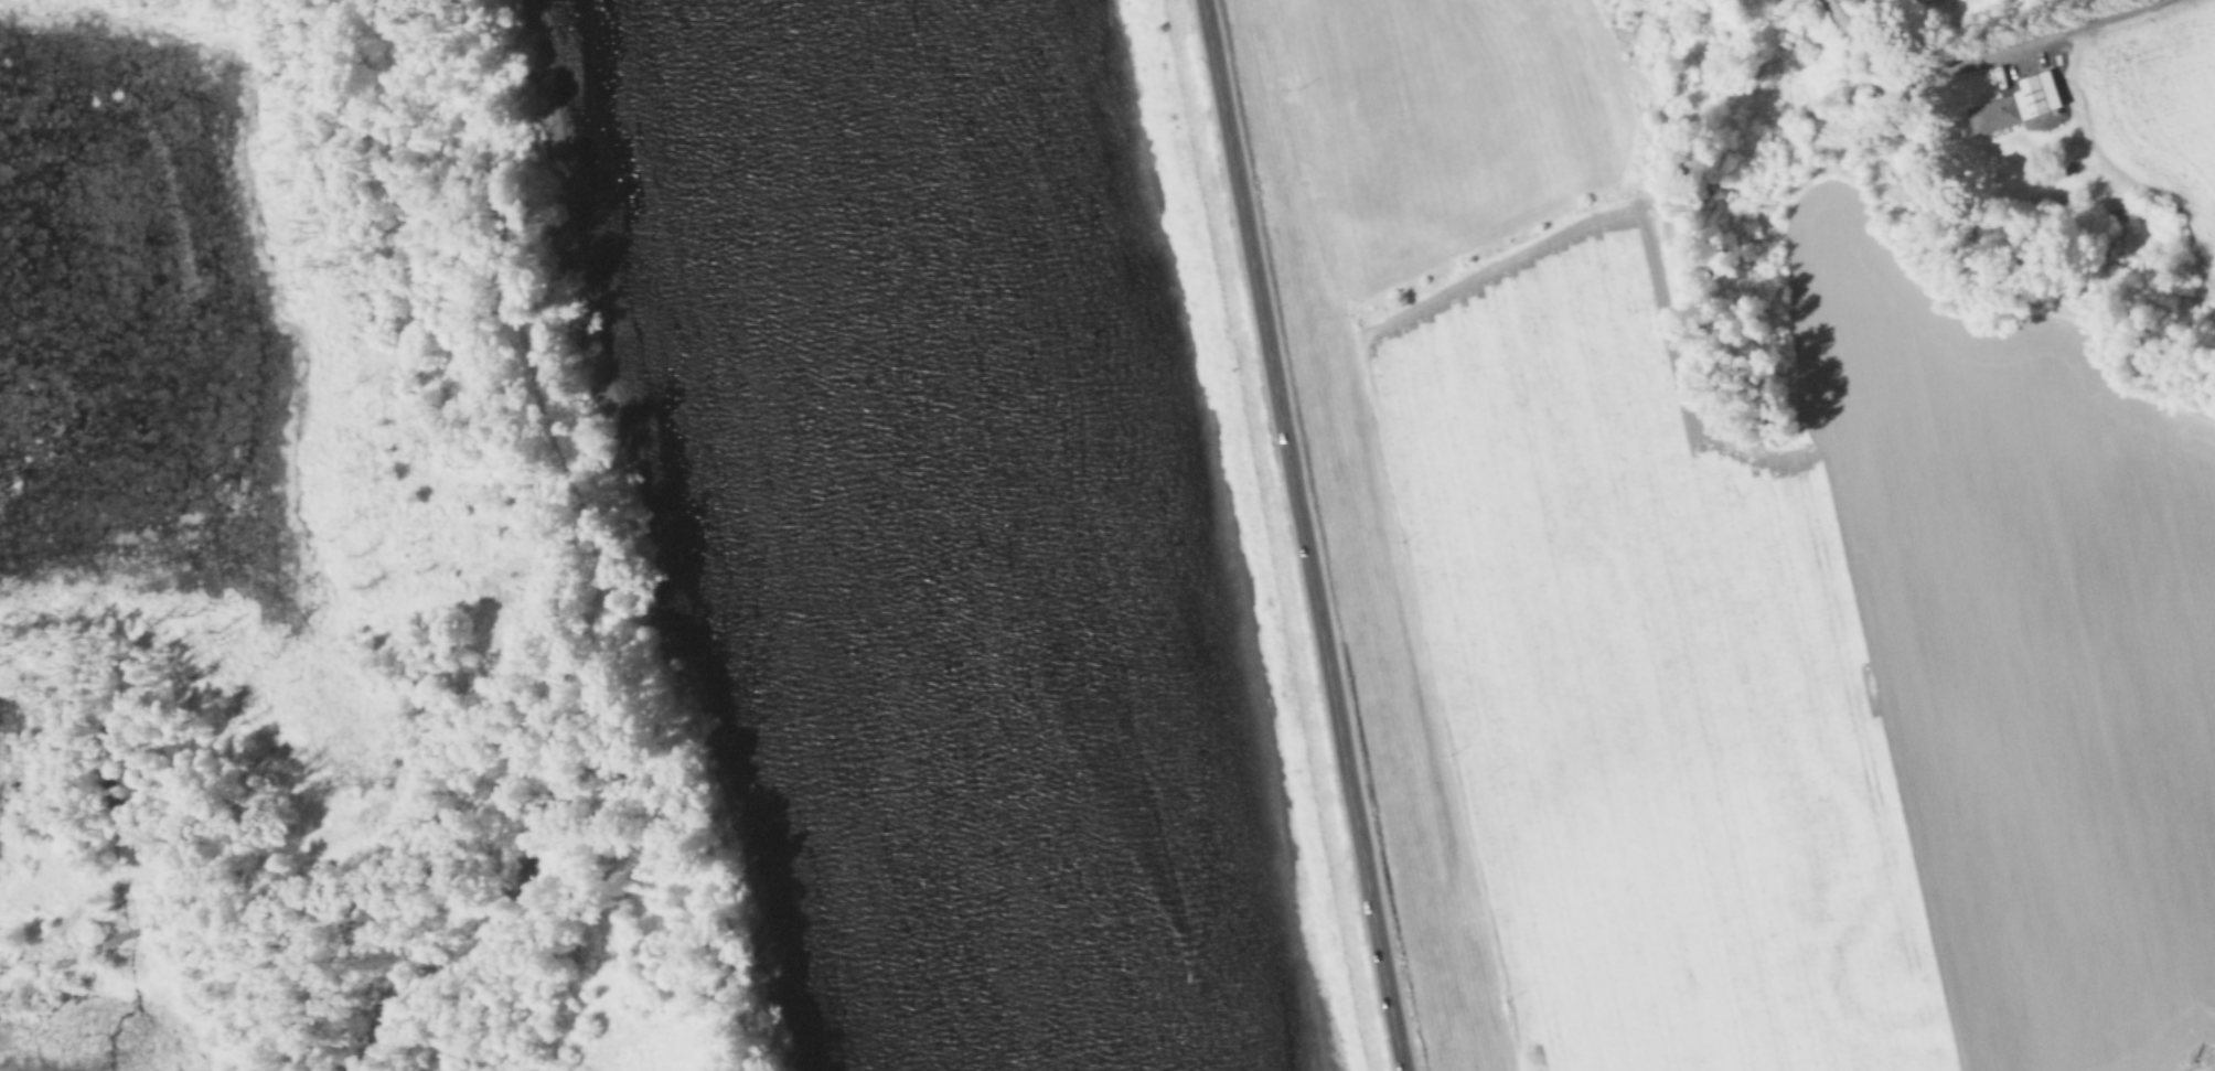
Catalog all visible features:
building: (1970, 2)
road: (1998, 53)
park: (1518, 114)
building: (1995, 116)
crop: (2158, 118)
park: (1188, 179)
road: (1263, 309)
river: (967, 535)
road: (579, 661)
crop: (1810, 674)
road: (1363, 839)
road: (1406, 1067)

